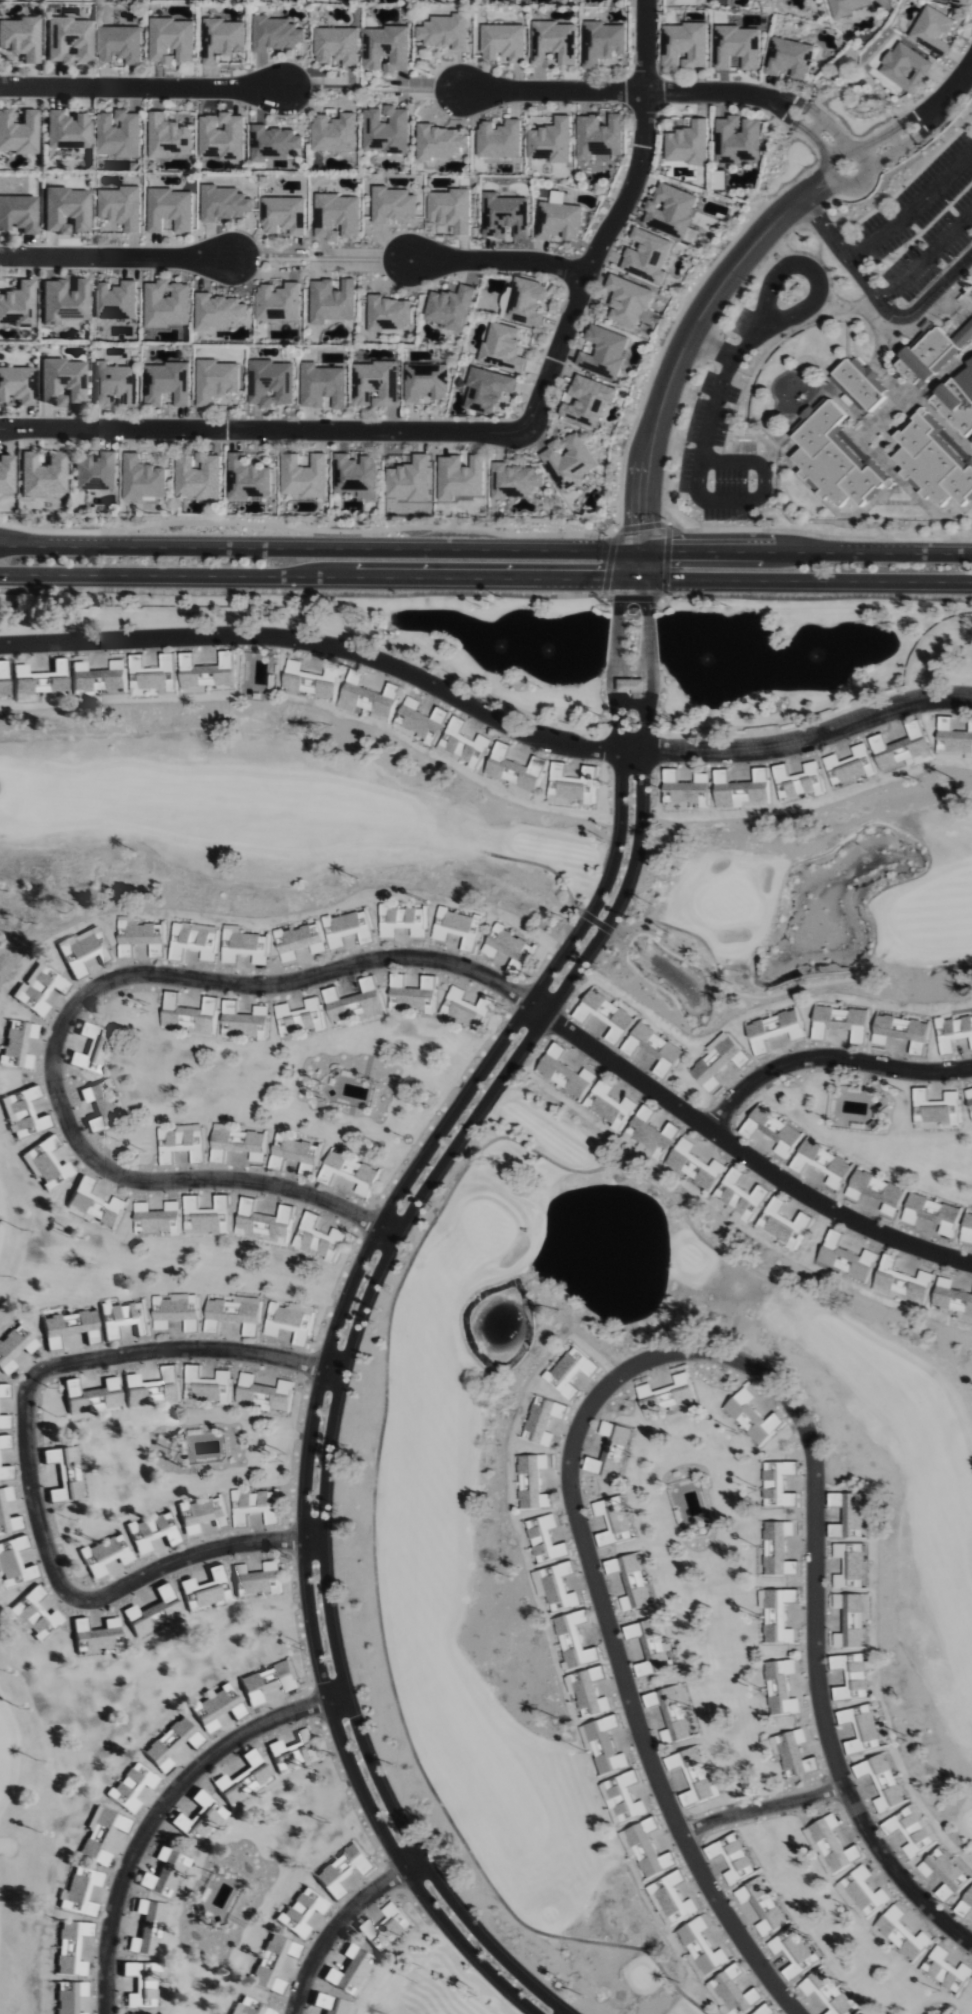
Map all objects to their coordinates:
building: (959, 1)
building: (850, 6)
building: (933, 31)
building: (446, 33)
building: (276, 34)
building: (20, 38)
building: (223, 40)
building: (68, 41)
building: (172, 41)
building: (503, 43)
building: (603, 43)
building: (554, 44)
building: (120, 45)
building: (337, 46)
road: (645, 46)
building: (685, 46)
building: (738, 48)
building: (387, 49)
building: (790, 59)
building: (905, 68)
road: (141, 87)
road: (660, 92)
road: (943, 102)
park: (965, 120)
building: (67, 131)
building: (387, 131)
building: (18, 133)
building: (335, 133)
building: (117, 135)
building: (222, 137)
building: (600, 137)
building: (168, 139)
building: (500, 140)
building: (738, 141)
building: (442, 142)
building: (552, 142)
building: (274, 144)
building: (688, 144)
road: (885, 146)
road: (831, 177)
road: (910, 203)
building: (224, 204)
building: (392, 205)
building: (121, 208)
building: (451, 210)
building: (671, 210)
building: (66, 211)
building: (170, 211)
building: (18, 214)
building: (284, 216)
building: (505, 216)
building: (559, 219)
road: (825, 228)
road: (366, 251)
road: (925, 256)
building: (648, 257)
road: (117, 258)
road: (499, 261)
building: (970, 295)
road: (768, 298)
building: (115, 301)
building: (628, 301)
building: (64, 302)
building: (332, 302)
building: (524, 302)
building: (278, 303)
building: (17, 305)
building: (167, 305)
building: (450, 308)
building: (218, 312)
building: (389, 315)
road: (906, 315)
road: (688, 338)
building: (502, 349)
building: (605, 353)
building: (932, 355)
road: (731, 358)
building: (216, 381)
building: (62, 382)
building: (427, 383)
building: (167, 384)
building: (272, 384)
building: (113, 385)
building: (376, 385)
building: (859, 385)
building: (16, 386)
building: (323, 387)
building: (487, 391)
building: (957, 401)
building: (589, 402)
road: (444, 433)
building: (835, 459)
building: (570, 460)
building: (934, 461)
building: (94, 472)
building: (6, 475)
building: (42, 475)
building: (303, 477)
building: (356, 477)
building: (198, 478)
building: (461, 478)
building: (142, 480)
building: (247, 480)
building: (410, 481)
building: (514, 482)
road: (703, 500)
road: (318, 547)
road: (804, 553)
road: (635, 563)
road: (316, 576)
road: (802, 578)
building: (206, 672)
building: (153, 675)
building: (98, 677)
building: (3, 678)
building: (310, 681)
building: (38, 682)
building: (631, 685)
building: (367, 696)
road: (486, 711)
building: (419, 718)
building: (431, 738)
building: (463, 744)
building: (901, 747)
building: (850, 766)
building: (515, 771)
building: (798, 782)
building: (571, 786)
building: (683, 790)
building: (741, 790)
park: (258, 823)
park: (800, 906)
building: (401, 921)
building: (457, 928)
building: (348, 929)
building: (140, 938)
building: (195, 941)
building: (299, 941)
building: (245, 946)
building: (506, 947)
building: (83, 950)
building: (39, 988)
building: (410, 994)
road: (78, 1001)
building: (352, 1002)
building: (464, 1008)
building: (189, 1014)
building: (606, 1014)
building: (299, 1019)
building: (242, 1021)
building: (840, 1023)
building: (774, 1030)
building: (901, 1032)
building: (953, 1033)
building: (18, 1046)
building: (93, 1048)
building: (653, 1049)
road: (829, 1057)
building: (719, 1061)
building: (564, 1073)
building: (969, 1100)
building: (609, 1106)
building: (100, 1107)
building: (936, 1109)
building: (23, 1113)
building: (772, 1131)
building: (650, 1135)
building: (181, 1143)
building: (237, 1143)
building: (295, 1154)
road: (749, 1155)
building: (47, 1164)
building: (695, 1164)
building: (822, 1164)
building: (349, 1173)
building: (876, 1192)
building: (739, 1197)
building: (93, 1205)
building: (932, 1214)
building: (204, 1216)
building: (157, 1219)
building: (264, 1223)
building: (783, 1224)
building: (967, 1229)
building: (318, 1239)
park: (125, 1259)
building: (845, 1259)
building: (901, 1282)
road: (346, 1292)
road: (365, 1298)
building: (951, 1298)
building: (176, 1312)
building: (234, 1314)
building: (123, 1319)
building: (290, 1321)
building: (69, 1328)
building: (14, 1347)
building: (571, 1372)
building: (152, 1388)
building: (207, 1388)
building: (4, 1391)
building: (264, 1394)
building: (666, 1395)
building: (92, 1396)
building: (752, 1417)
building: (543, 1421)
building: (4, 1422)
building: (4, 1442)
building: (610, 1452)
road: (27, 1466)
building: (5, 1473)
building: (66, 1474)
building: (532, 1482)
building: (778, 1484)
building: (254, 1507)
building: (2, 1509)
building: (849, 1514)
building: (202, 1515)
building: (613, 1521)
building: (151, 1532)
building: (545, 1540)
building: (779, 1549)
building: (105, 1555)
building: (13, 1564)
building: (850, 1564)
park: (430, 1571)
building: (255, 1580)
building: (631, 1582)
building: (556, 1587)
building: (203, 1590)
building: (154, 1613)
building: (34, 1615)
building: (777, 1615)
building: (852, 1619)
building: (94, 1635)
building: (574, 1641)
building: (650, 1647)
road: (813, 1651)
road: (614, 1657)
building: (851, 1677)
building: (268, 1682)
building: (780, 1688)
building: (588, 1692)
building: (671, 1712)
building: (210, 1727)
building: (861, 1729)
building: (168, 1745)
building: (603, 1745)
park: (93, 1752)
building: (293, 1753)
building: (793, 1754)
building: (693, 1776)
building: (243, 1780)
building: (882, 1781)
building: (132, 1787)
building: (622, 1799)
road: (760, 1804)
road: (161, 1807)
building: (200, 1817)
building: (911, 1830)
building: (101, 1835)
building: (830, 1846)
building: (646, 1849)
building: (732, 1858)
building: (342, 1870)
building: (165, 1873)
building: (944, 1874)
building: (80, 1892)
building: (861, 1894)
building: (671, 1898)
building: (965, 1905)
building: (762, 1907)
building: (302, 1913)
road: (338, 1922)
building: (148, 1928)
building: (386, 1928)
building: (902, 1935)
building: (700, 1947)
building: (71, 1948)
building: (793, 1953)
building: (273, 1963)
building: (349, 1971)
building: (946, 1971)
park: (432, 1982)
building: (142, 1984)
building: (826, 1992)
building: (732, 1993)
building: (68, 1997)
building: (332, 2005)
building: (250, 2007)
building: (765, 2010)
building: (858, 2013)

